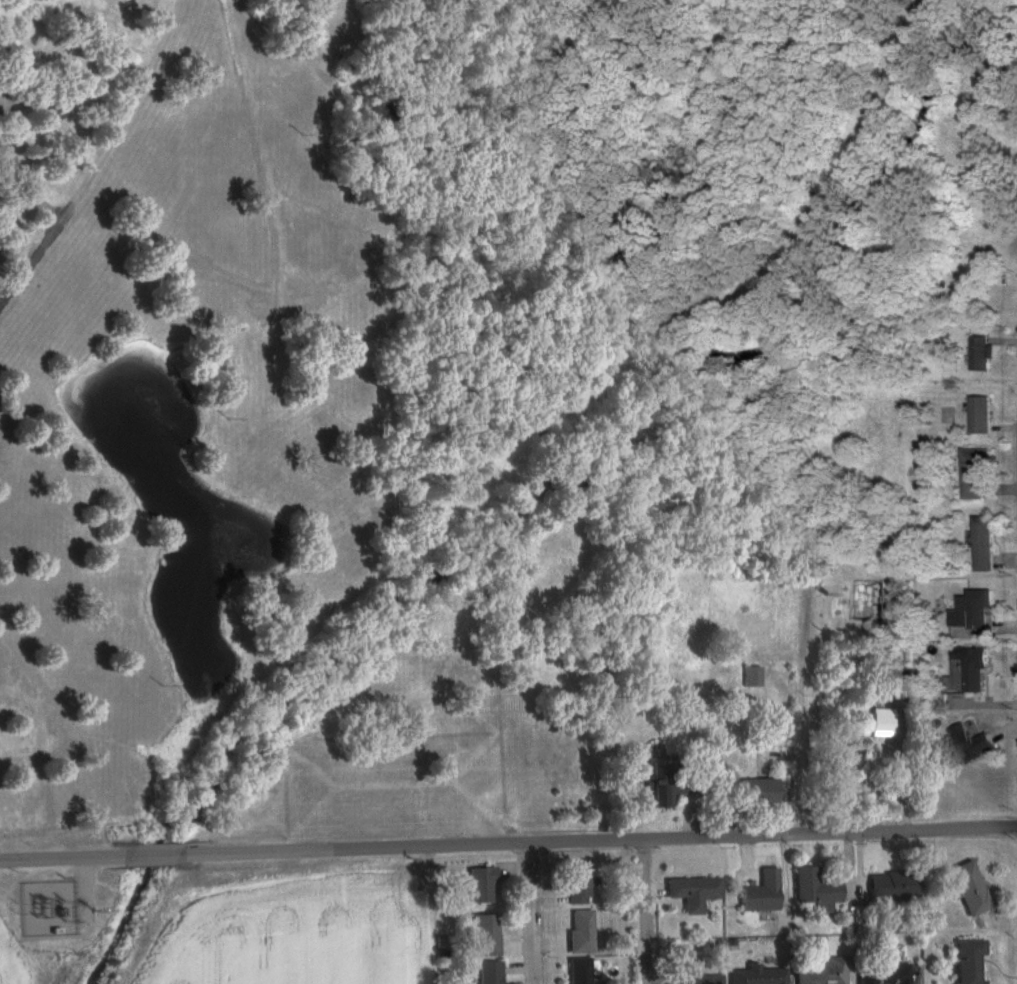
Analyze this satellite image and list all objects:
road: (101, 159)
building: (979, 353)
building: (978, 415)
building: (972, 474)
building: (981, 544)
building: (976, 609)
building: (965, 671)
building: (753, 677)
building: (881, 723)
building: (966, 746)
building: (562, 755)
building: (665, 788)
building: (752, 791)
road: (508, 843)
building: (580, 883)
building: (480, 886)
building: (968, 888)
building: (892, 889)
building: (813, 890)
building: (691, 892)
building: (759, 893)
road: (646, 911)
road: (532, 913)
building: (581, 932)
crop: (291, 934)
building: (485, 936)
building: (968, 962)
crop: (26, 967)
building: (821, 968)
building: (581, 971)
building: (488, 973)
building: (883, 974)
building: (758, 975)
building: (694, 980)

